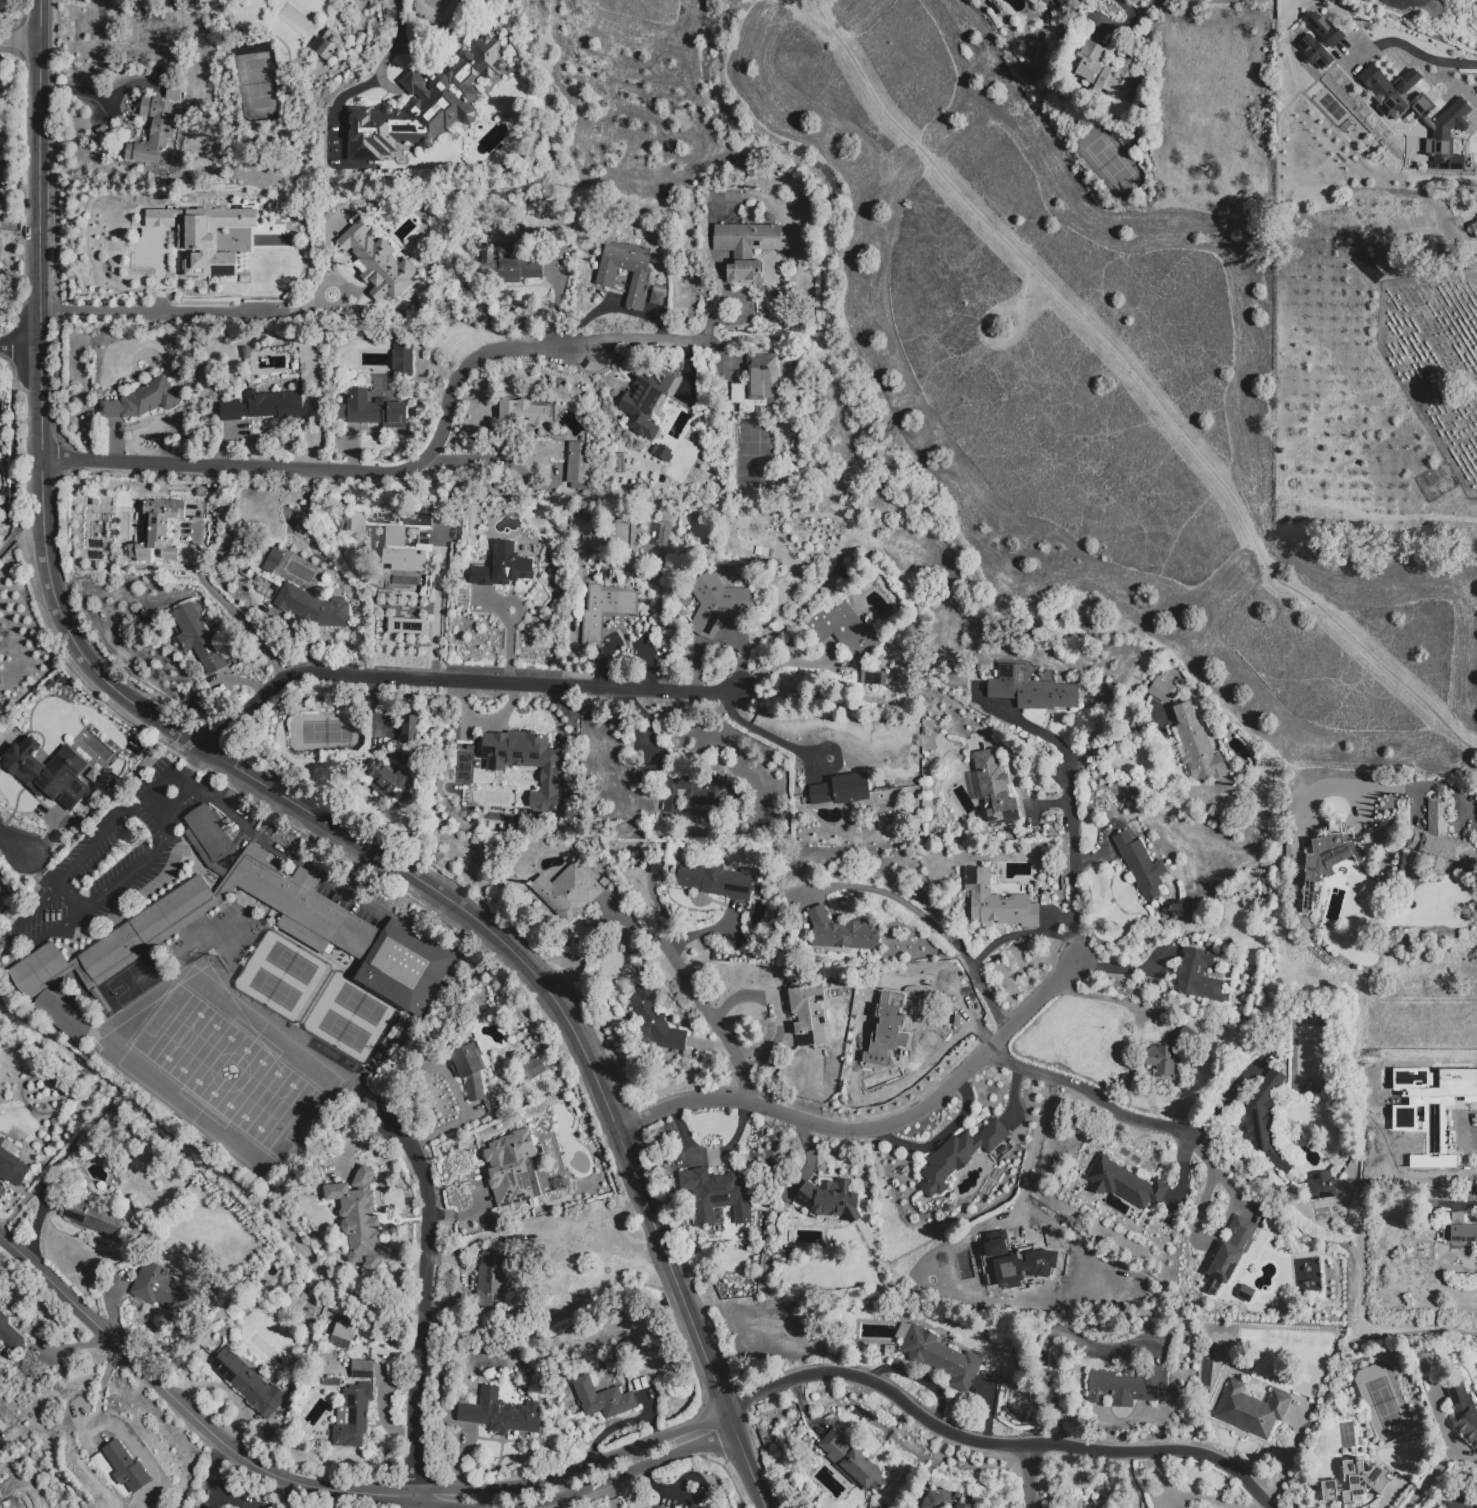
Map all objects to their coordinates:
building: (1051, 2)
road: (1416, 3)
road: (822, 17)
road: (400, 23)
building: (1476, 24)
building: (1321, 27)
road: (19, 42)
building: (330, 44)
building: (1313, 52)
road: (1421, 56)
road: (387, 57)
building: (1108, 73)
road: (77, 92)
road: (337, 104)
building: (423, 106)
building: (1331, 110)
building: (1428, 123)
building: (1352, 126)
building: (152, 132)
building: (1474, 229)
building: (203, 234)
building: (746, 248)
building: (377, 263)
building: (518, 270)
building: (606, 278)
road: (339, 285)
building: (659, 290)
building: (657, 298)
road: (181, 311)
road: (636, 337)
road: (19, 345)
building: (403, 360)
park: (1029, 360)
road: (1131, 374)
building: (757, 382)
building: (142, 400)
building: (645, 401)
building: (265, 406)
building: (371, 410)
building: (524, 413)
road: (495, 455)
building: (579, 464)
road: (338, 469)
building: (384, 518)
building: (418, 519)
building: (358, 523)
building: (159, 529)
building: (700, 531)
road: (18, 532)
building: (394, 536)
building: (617, 540)
building: (271, 559)
building: (405, 559)
building: (503, 567)
building: (716, 604)
building: (399, 606)
building: (312, 607)
building: (605, 610)
road: (436, 622)
road: (245, 625)
building: (408, 625)
building: (846, 633)
building: (197, 637)
building: (958, 664)
road: (783, 668)
building: (1162, 673)
road: (72, 674)
building: (871, 677)
road: (457, 681)
building: (1030, 690)
building: (1160, 691)
road: (1025, 725)
building: (410, 729)
road: (766, 735)
road: (1115, 739)
road: (7, 741)
building: (1196, 742)
building: (526, 763)
road: (193, 764)
building: (652, 769)
building: (48, 772)
building: (1242, 772)
building: (389, 777)
road: (186, 781)
road: (1423, 786)
building: (892, 787)
building: (992, 788)
building: (840, 789)
building: (881, 789)
road: (275, 791)
building: (690, 792)
building: (474, 798)
road: (160, 808)
building: (1008, 834)
building: (208, 836)
building: (1440, 840)
road: (13, 843)
road: (87, 849)
building: (1288, 852)
road: (285, 853)
building: (1327, 859)
road: (1072, 861)
building: (1141, 865)
parking lot: (116, 866)
building: (656, 868)
road: (42, 871)
building: (714, 880)
building: (604, 882)
road: (115, 885)
building: (568, 890)
road: (69, 899)
building: (999, 902)
park: (1, 904)
building: (309, 909)
road: (937, 928)
building: (842, 932)
road: (1016, 934)
building: (1199, 944)
building: (1208, 945)
road: (5, 950)
building: (404, 966)
road: (1125, 968)
building: (37, 969)
park: (282, 976)
building: (1197, 977)
park: (134, 980)
road: (1099, 999)
road: (775, 1009)
road: (970, 1013)
building: (60, 1017)
building: (810, 1017)
park: (350, 1018)
building: (655, 1020)
road: (715, 1023)
building: (891, 1024)
park: (194, 1044)
road: (932, 1056)
building: (1161, 1059)
building: (533, 1067)
building: (470, 1070)
park: (228, 1072)
park: (229, 1072)
road: (1085, 1091)
building: (1429, 1098)
building: (1265, 1123)
road: (872, 1128)
road: (940, 1136)
building: (958, 1156)
road: (60, 1157)
road: (1029, 1161)
building: (11, 1162)
building: (512, 1168)
road: (1181, 1170)
building: (1124, 1185)
building: (1321, 1186)
road: (1206, 1189)
building: (716, 1195)
building: (829, 1199)
road: (1231, 1206)
building: (90, 1214)
building: (358, 1219)
road: (1295, 1227)
building: (1459, 1231)
building: (1230, 1252)
road: (308, 1255)
building: (1061, 1259)
building: (1001, 1273)
building: (490, 1279)
building: (161, 1288)
road: (425, 1298)
building: (10, 1333)
building: (343, 1333)
road: (1415, 1333)
road: (1047, 1337)
building: (938, 1355)
building: (363, 1369)
building: (246, 1382)
building: (330, 1382)
building: (1127, 1386)
building: (602, 1399)
building: (1463, 1409)
road: (185, 1410)
building: (1252, 1410)
building: (499, 1413)
building: (353, 1415)
road: (1317, 1420)
road: (992, 1444)
road: (1288, 1458)
building: (851, 1461)
building: (124, 1466)
road: (574, 1471)
road: (629, 1472)
road: (1029, 1476)
road: (1431, 1476)
road: (1131, 1480)
building: (1353, 1483)
road: (610, 1495)
road: (485, 1498)
building: (934, 1499)
road: (230, 1501)
road: (413, 1501)
road: (435, 1501)
building: (1456, 1503)
building: (205, 1506)
building: (962, 1506)
road: (537, 1507)
building: (659, 1507)

